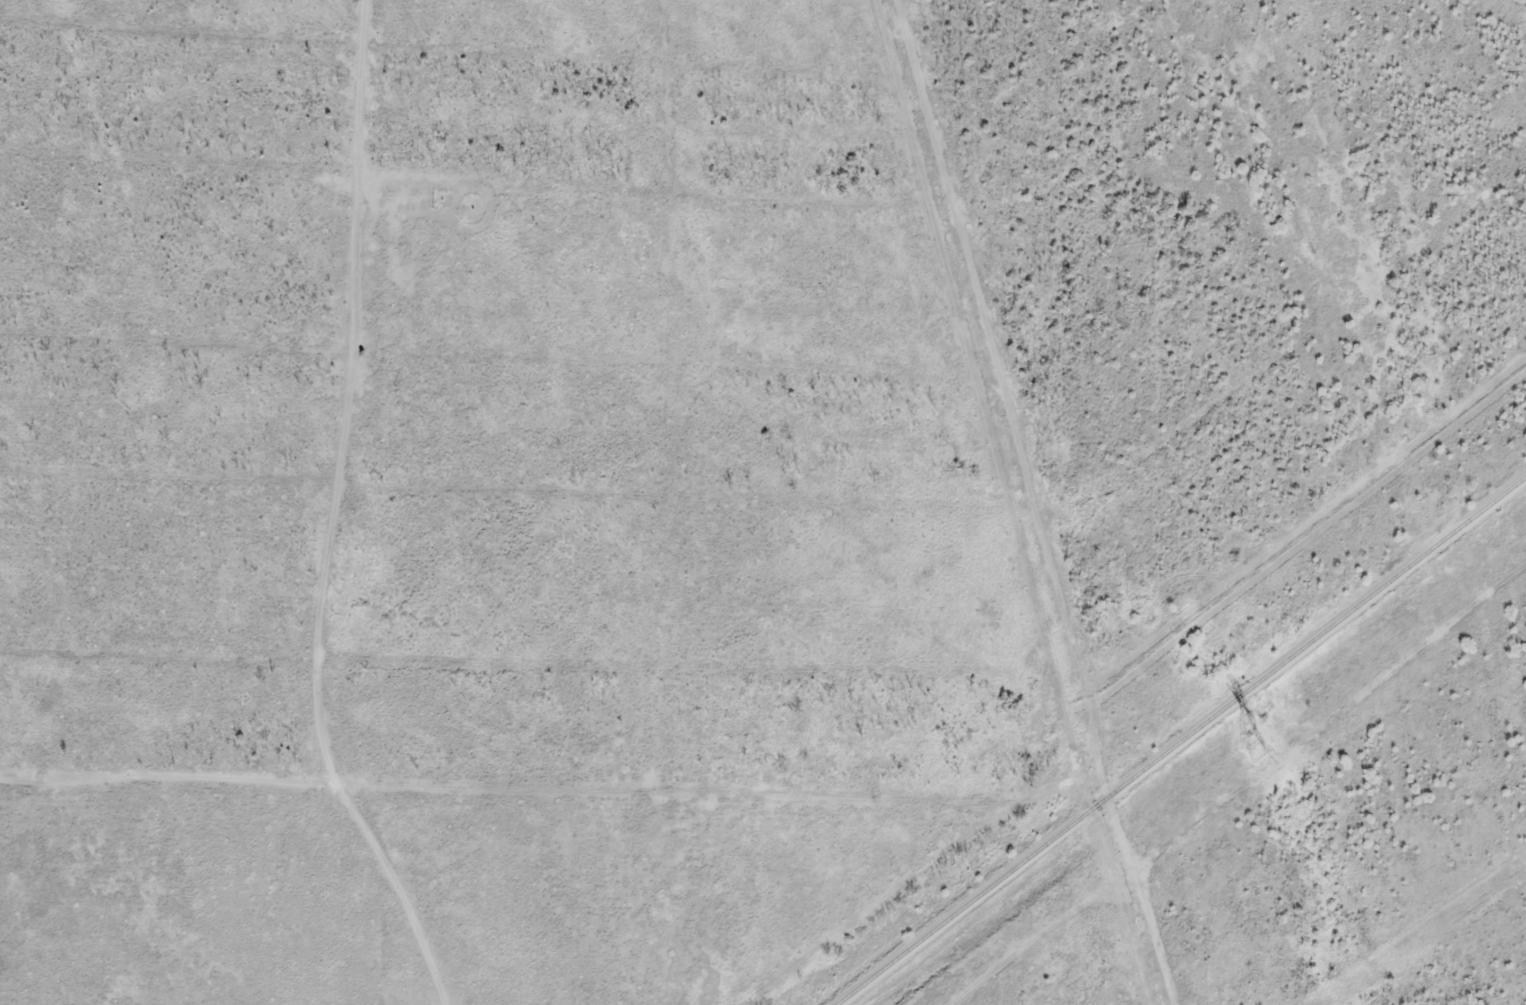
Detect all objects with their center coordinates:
railway: (1185, 742)
power tower: (1255, 749)

